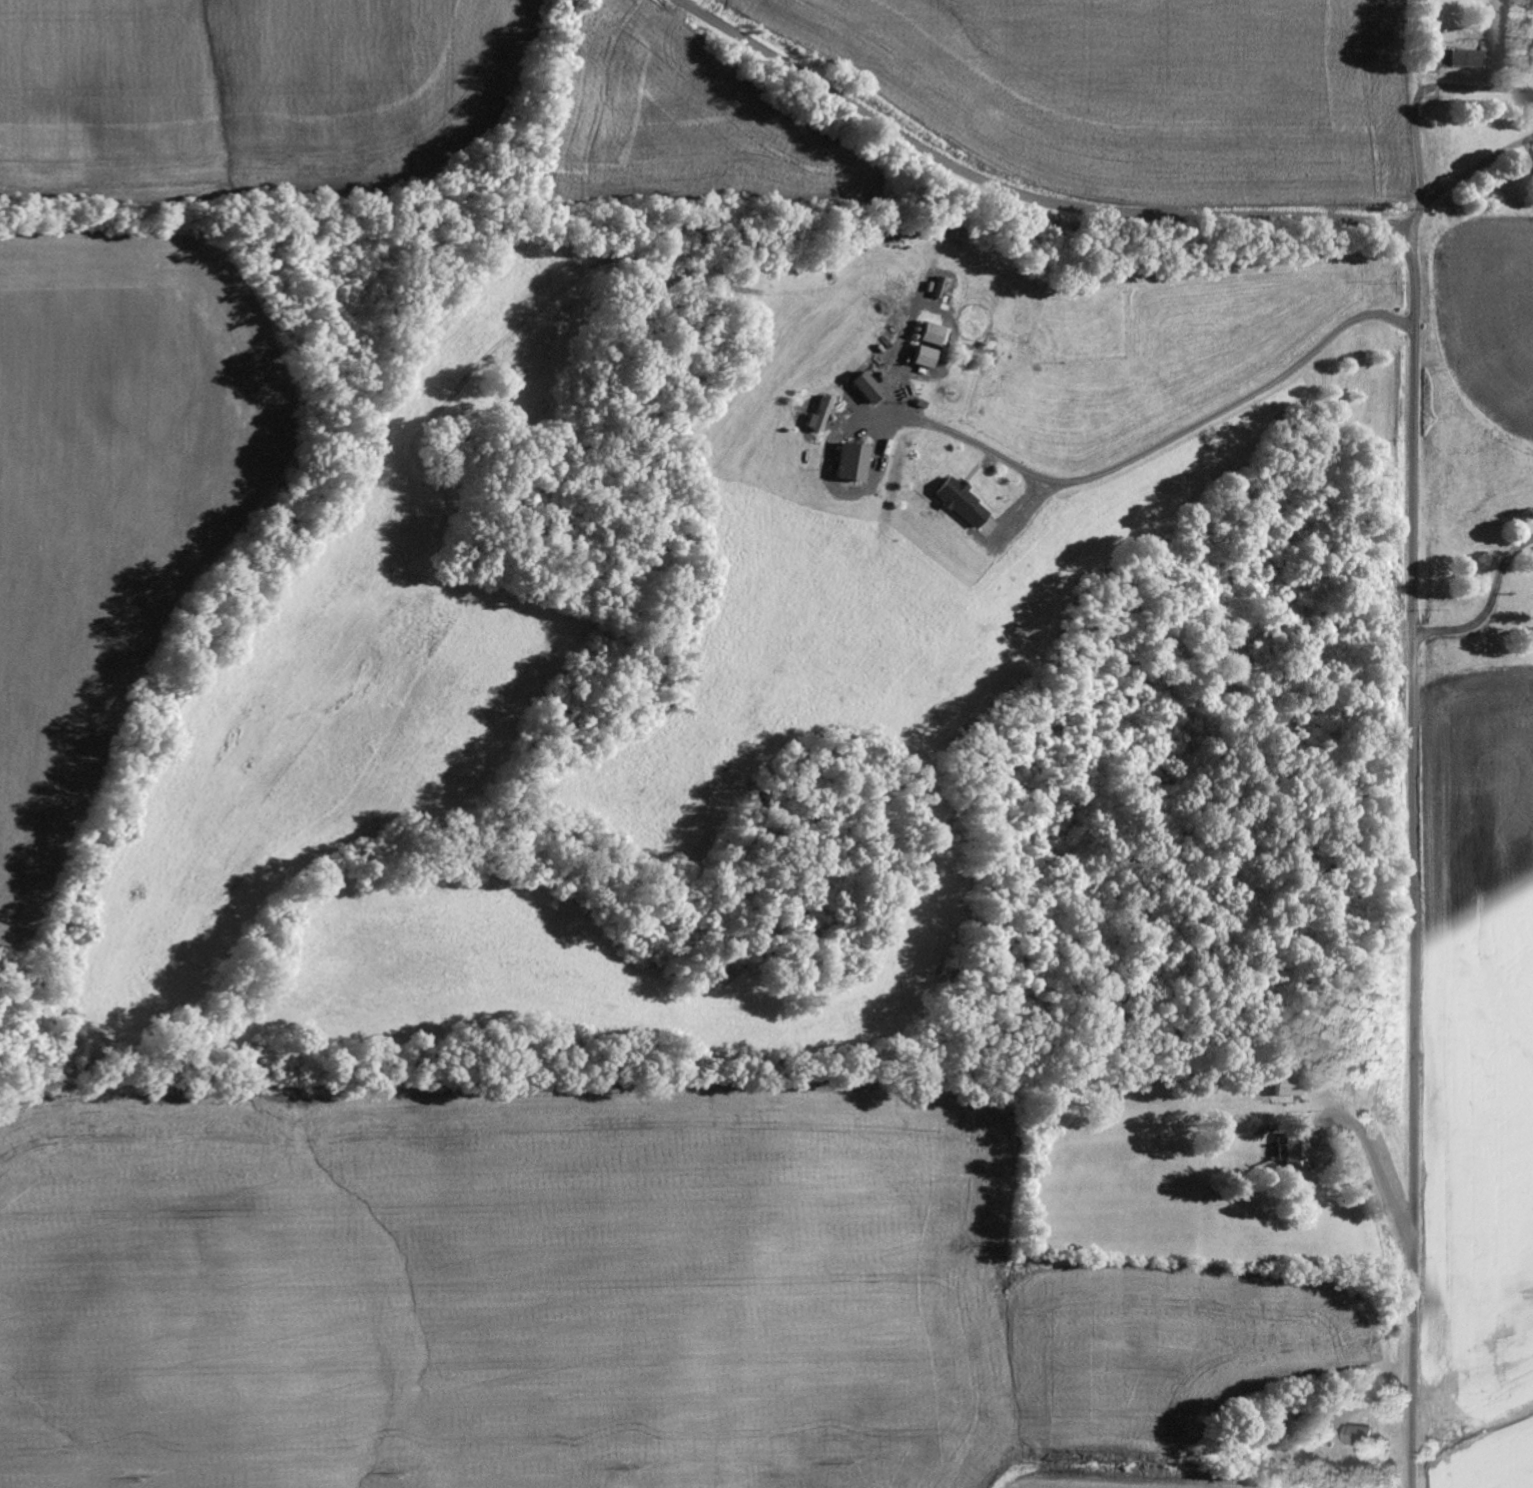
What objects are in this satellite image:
building: (1463, 59)
road: (1420, 141)
building: (1531, 164)
building: (923, 334)
building: (917, 357)
building: (860, 387)
building: (846, 462)
road: (1415, 470)
building: (956, 503)
building: (1283, 1087)
building: (1295, 1154)
building: (1357, 1437)

